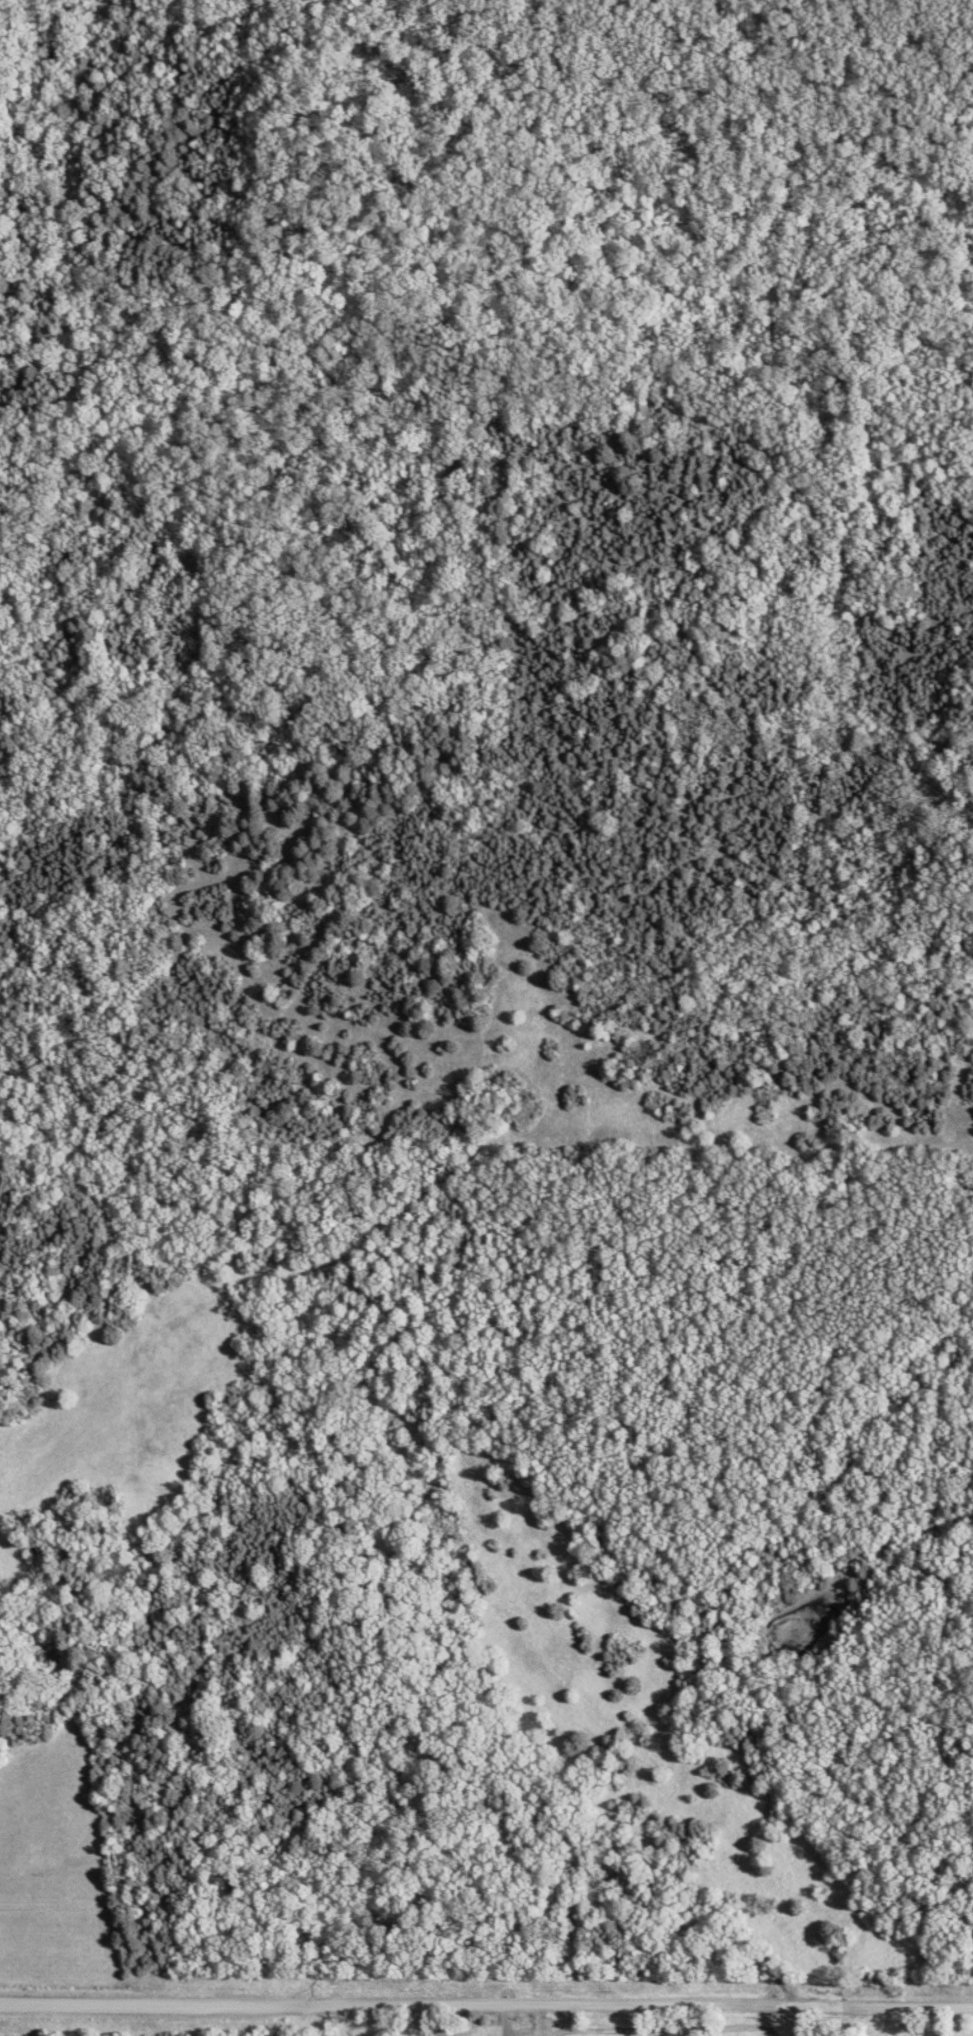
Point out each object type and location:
road: (486, 2002)
road: (507, 2019)
road: (541, 2019)

